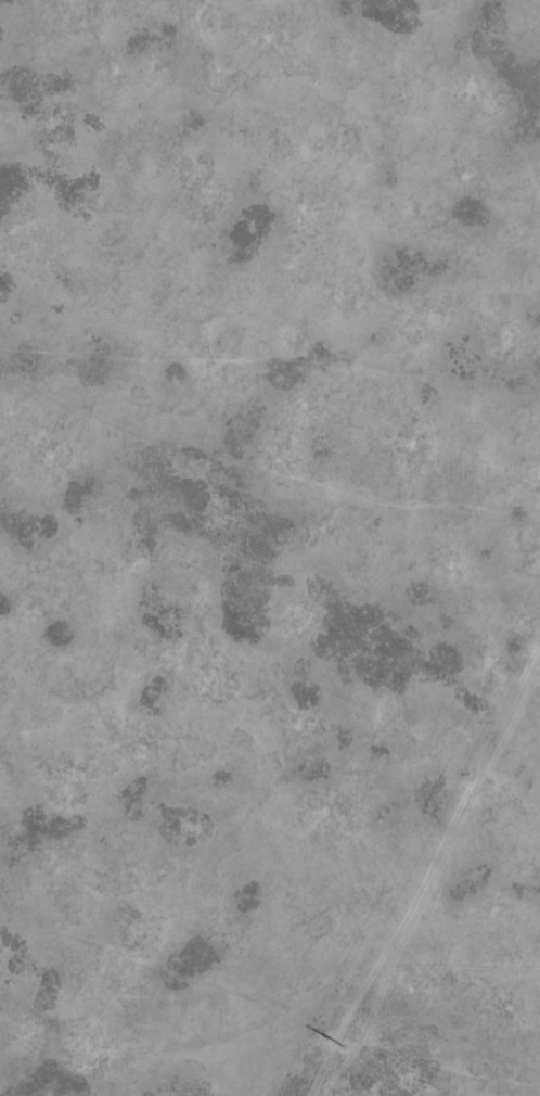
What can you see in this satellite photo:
power tower: (337, 1041)

